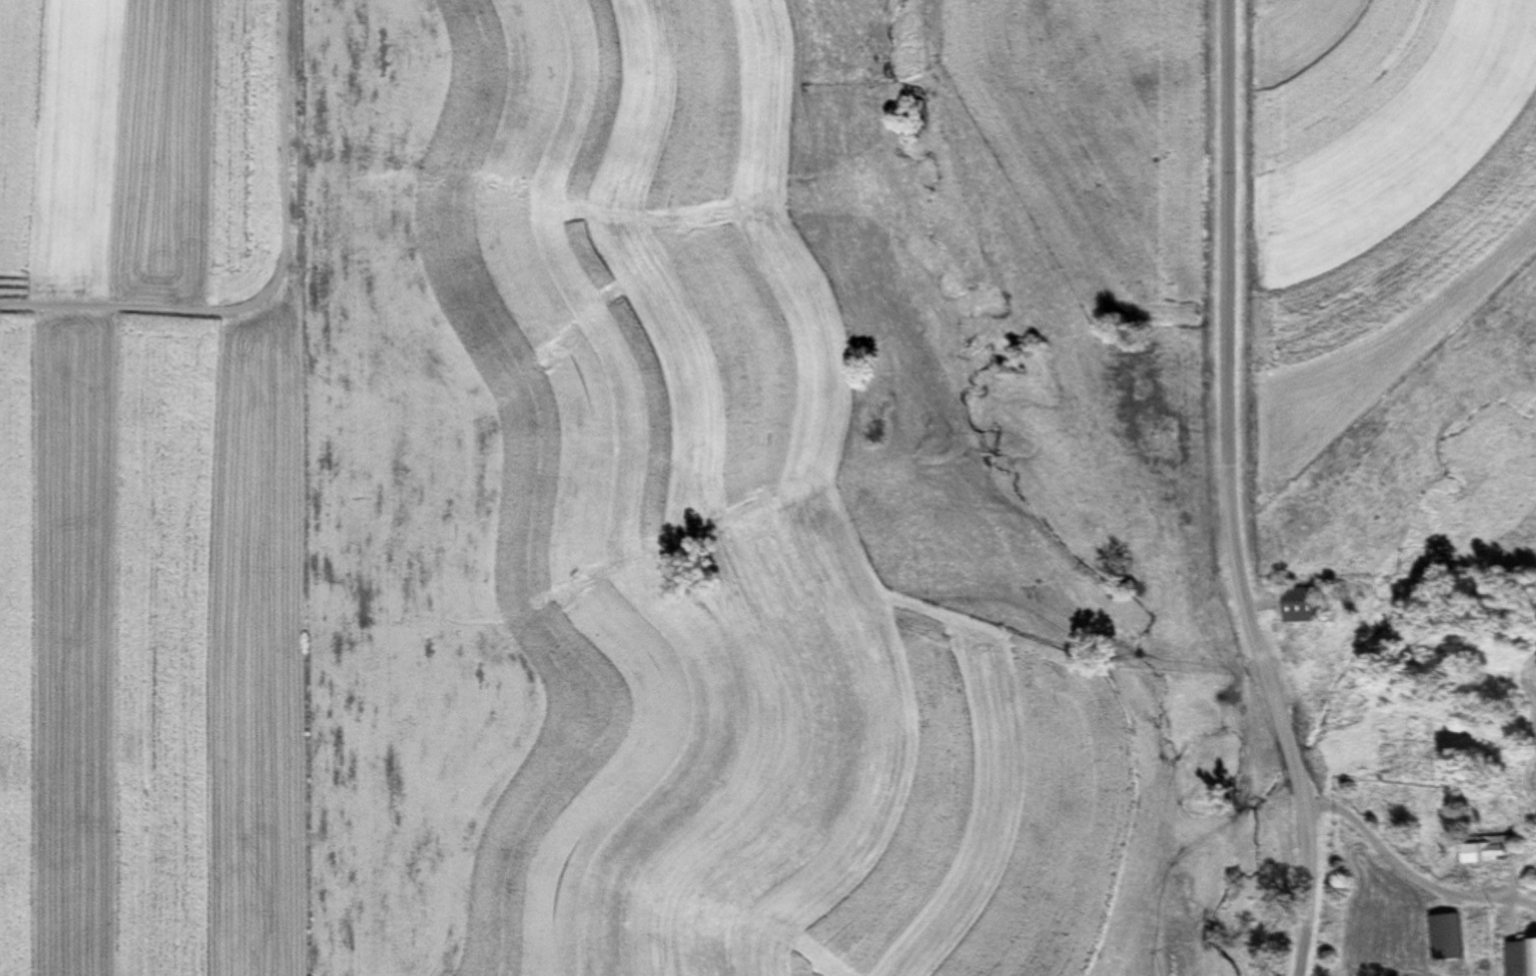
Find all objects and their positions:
road: (278, 286)
road: (1236, 492)
building: (1305, 605)
building: (1491, 850)
road: (1413, 873)
building: (1451, 937)
building: (1522, 958)

